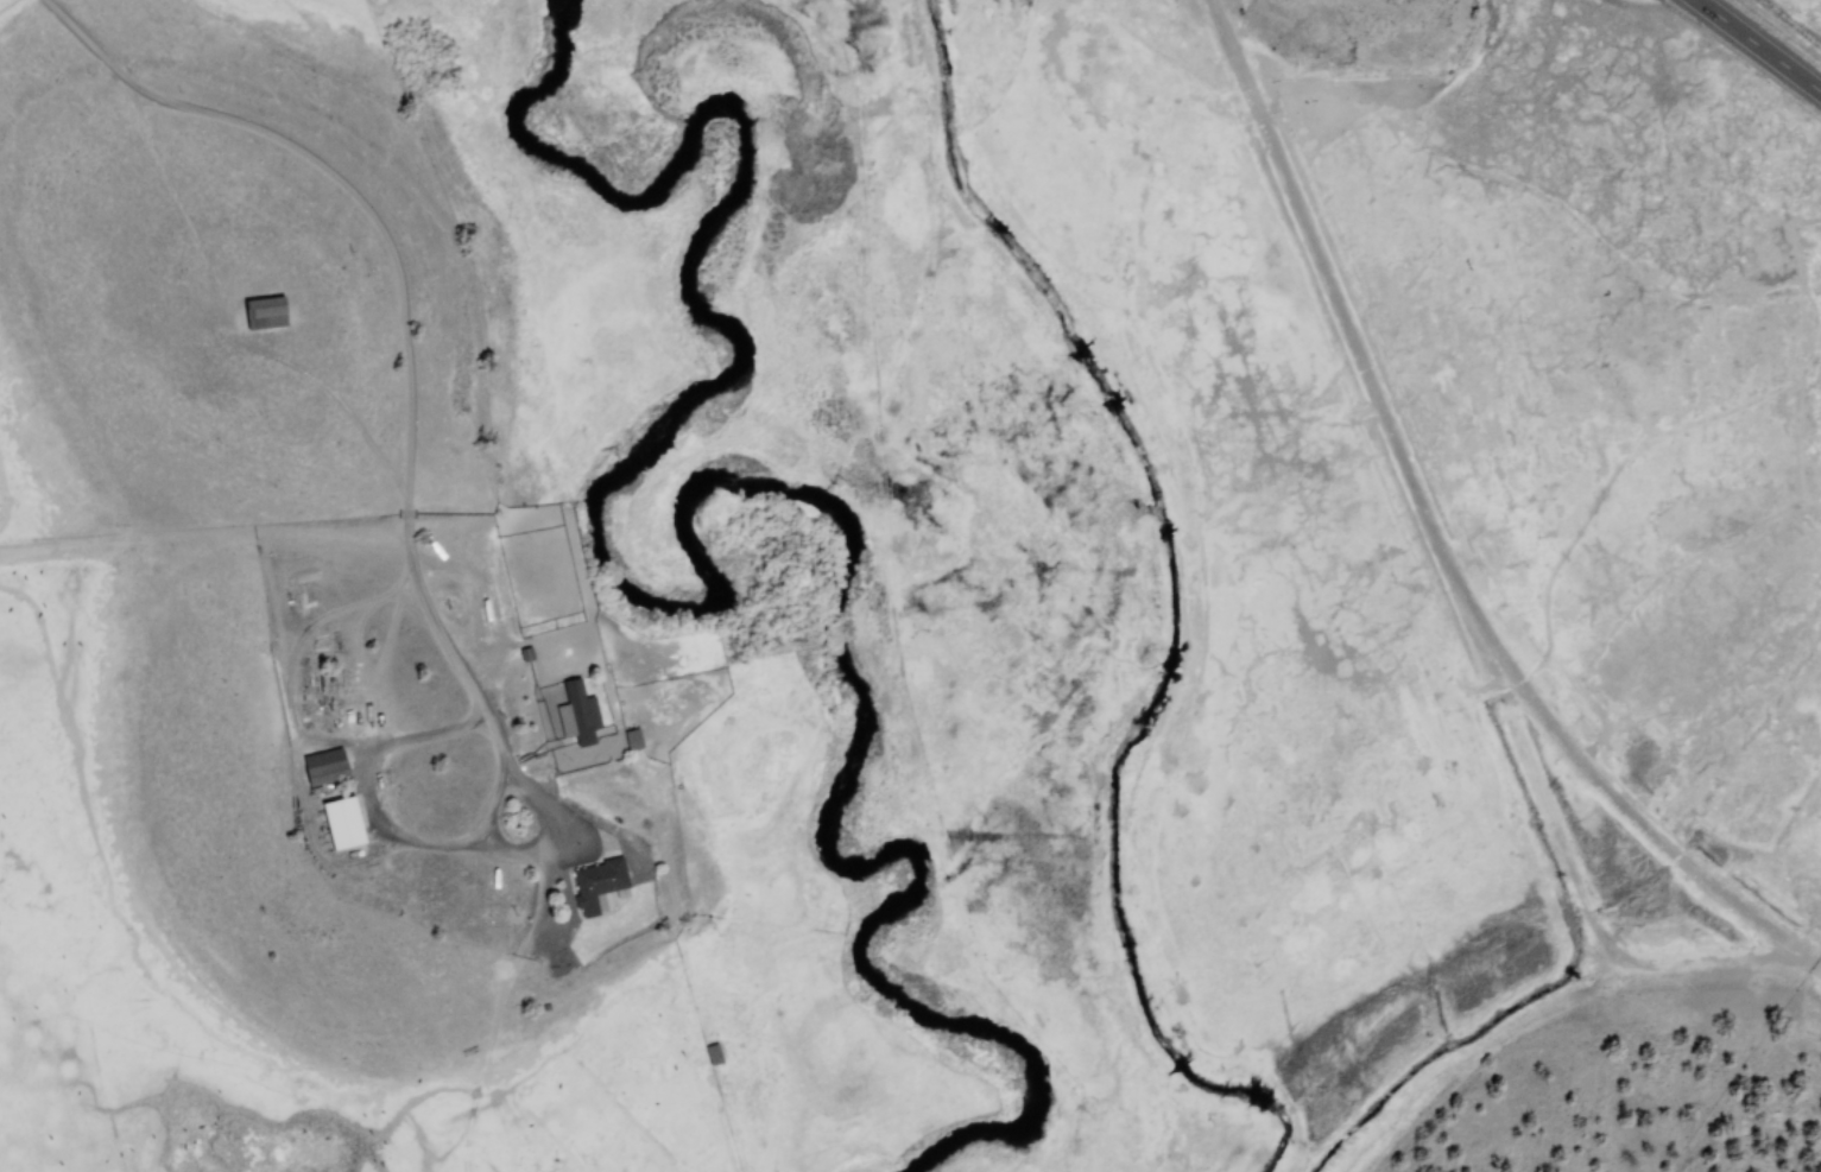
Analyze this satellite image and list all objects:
road: (1756, 46)
road: (396, 304)
building: (265, 312)
river: (679, 538)
road: (1433, 539)
building: (577, 714)
building: (325, 766)
road: (1531, 802)
building: (342, 822)
building: (597, 882)

